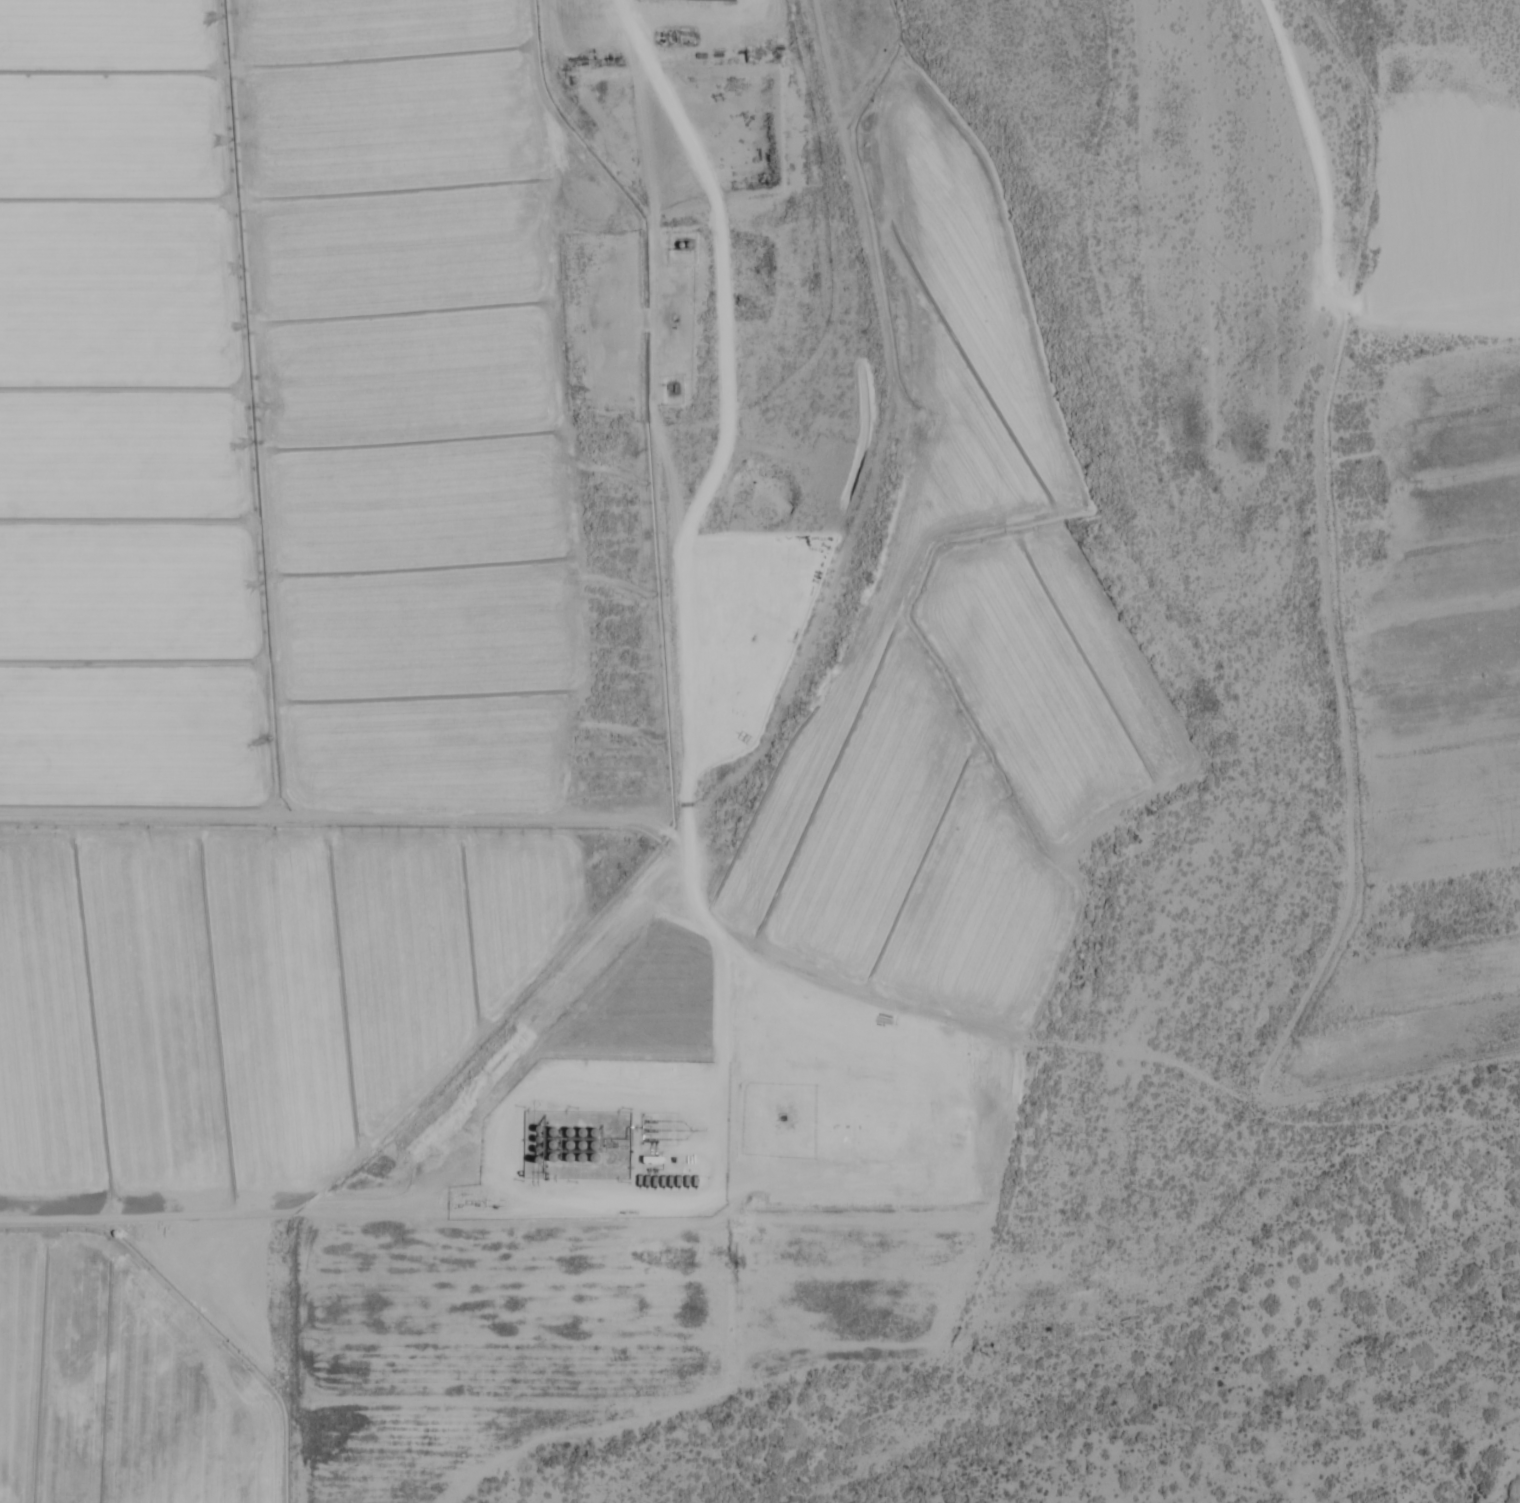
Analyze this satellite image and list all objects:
building: (702, 0)
road: (745, 937)

